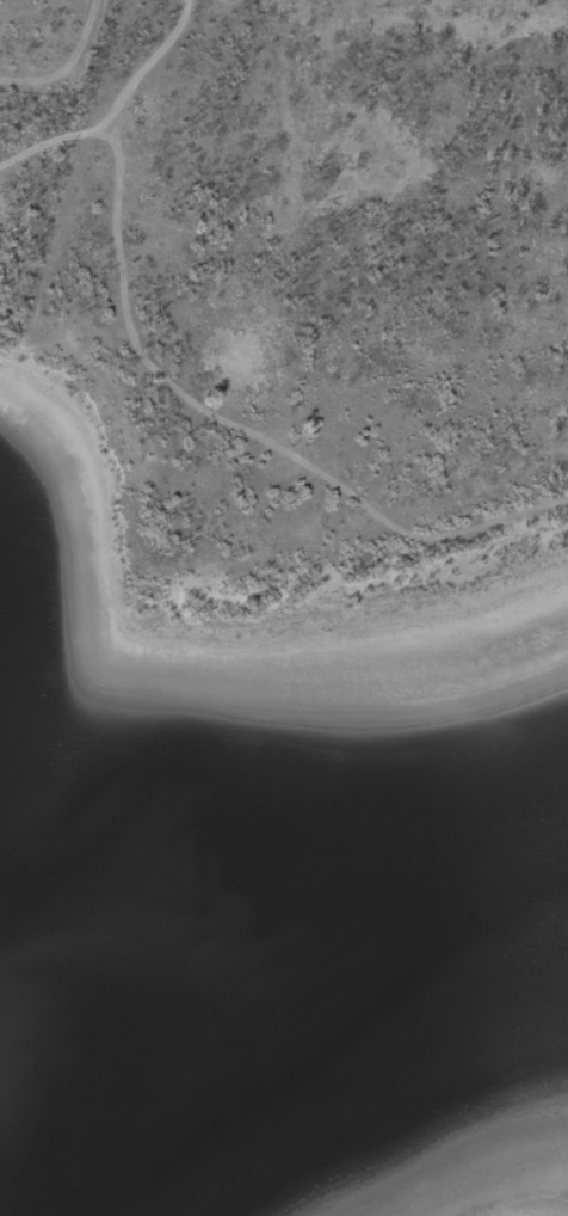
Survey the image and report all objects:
road: (153, 61)
road: (69, 67)
road: (56, 140)
road: (243, 429)

